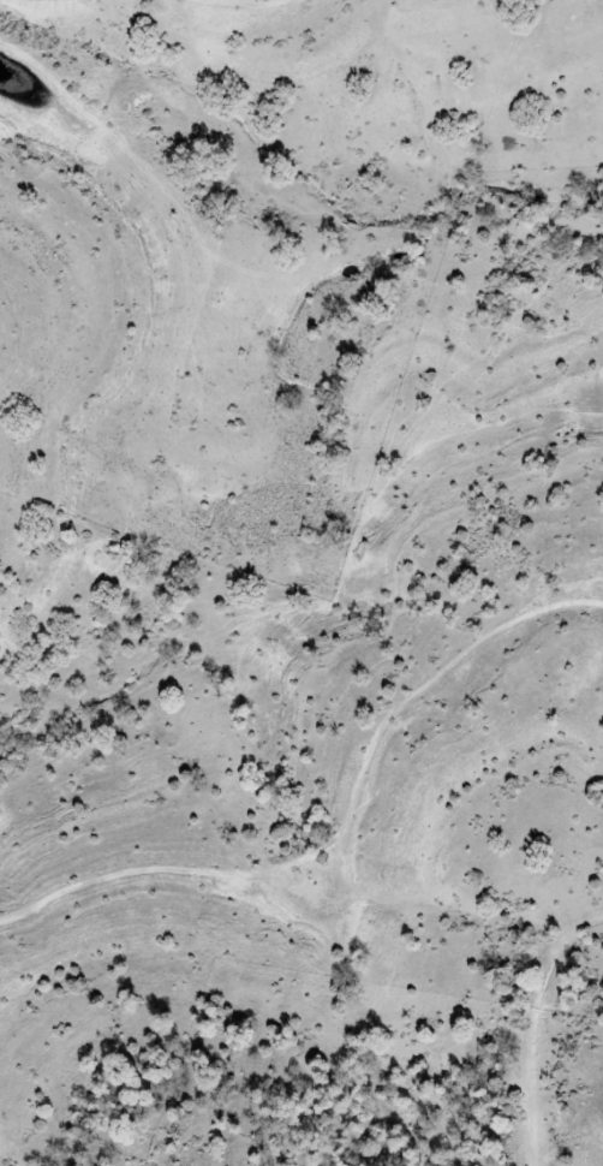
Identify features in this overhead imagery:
road: (352, 865)

